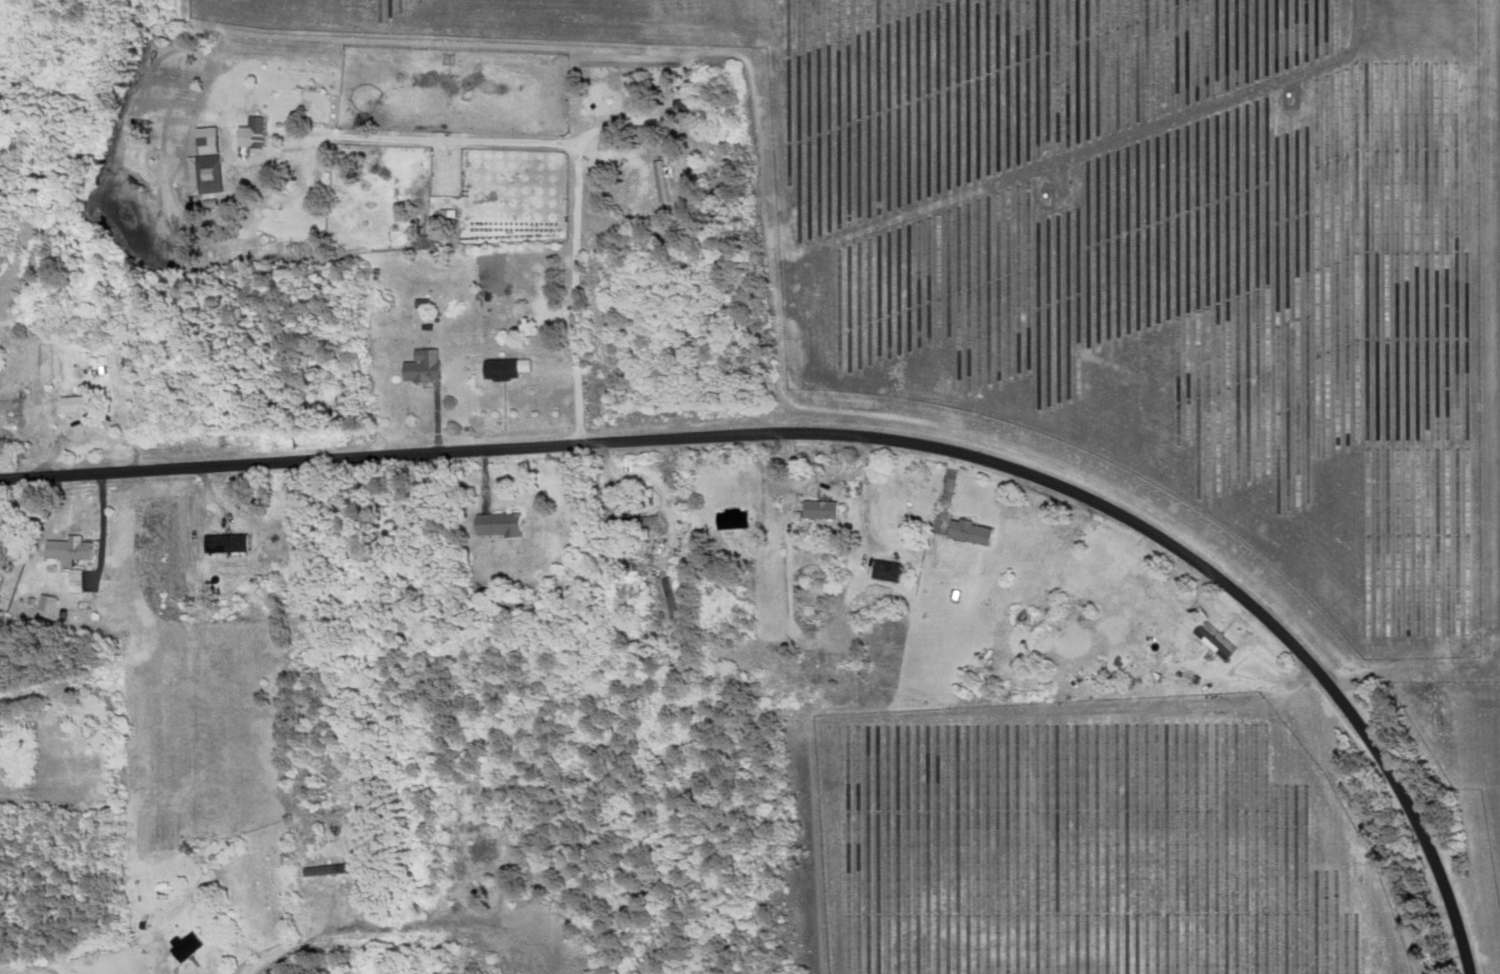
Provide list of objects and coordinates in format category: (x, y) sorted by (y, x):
building: (249, 131)
building: (206, 173)
building: (658, 181)
building: (439, 218)
building: (29, 261)
building: (418, 366)
building: (497, 369)
building: (67, 404)
road: (864, 436)
building: (817, 509)
building: (728, 519)
building: (494, 524)
building: (966, 531)
road: (789, 533)
building: (223, 543)
building: (66, 549)
building: (883, 571)
building: (1112, 572)
building: (72, 581)
building: (1212, 640)
building: (1187, 677)
building: (17, 754)
building: (479, 851)
building: (320, 871)
road: (369, 927)

